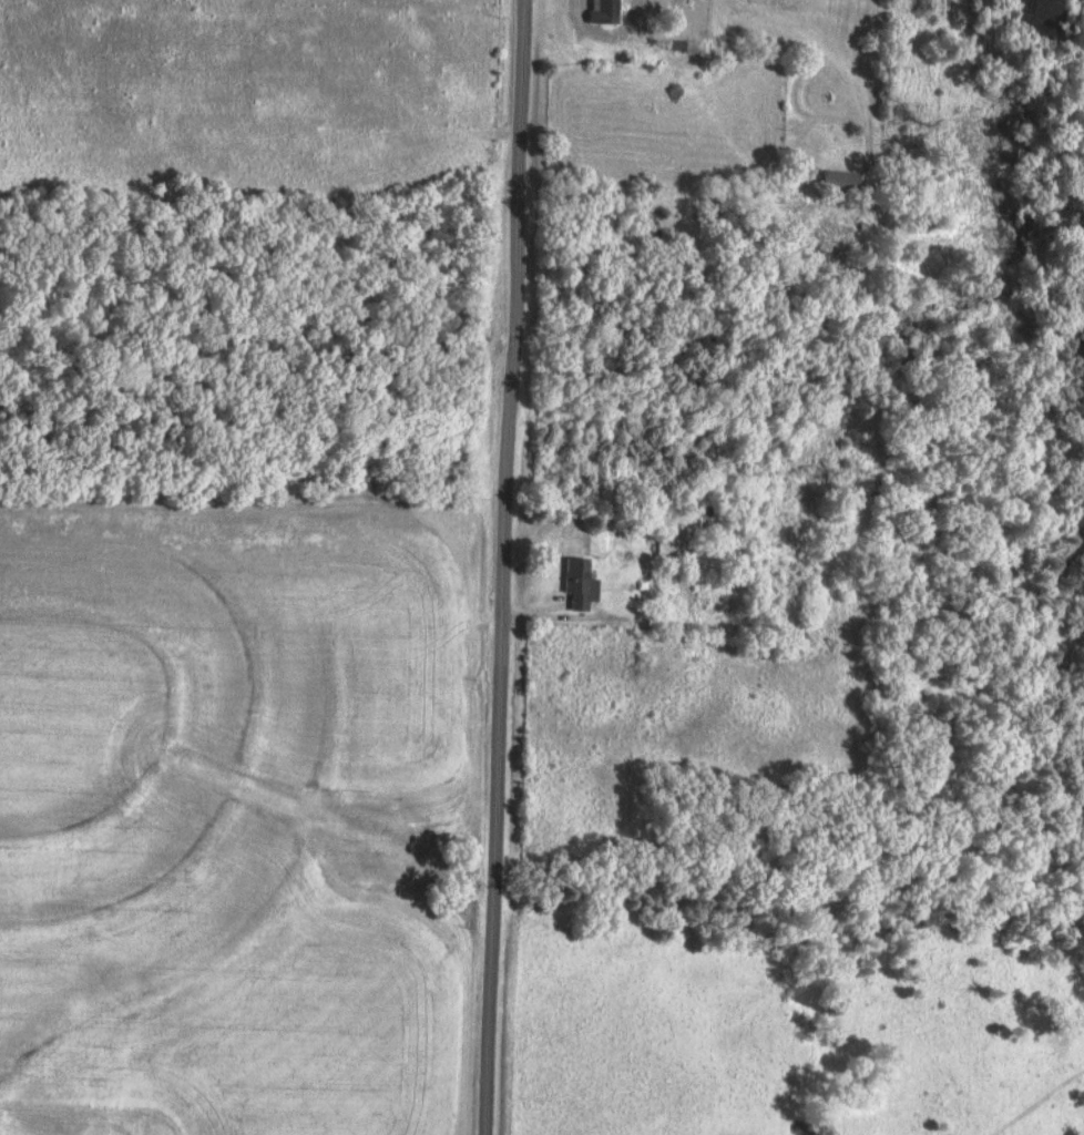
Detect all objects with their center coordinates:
building: (609, 9)
building: (841, 180)
building: (920, 219)
building: (72, 223)
building: (707, 521)
building: (672, 542)
road: (502, 566)
building: (581, 584)

